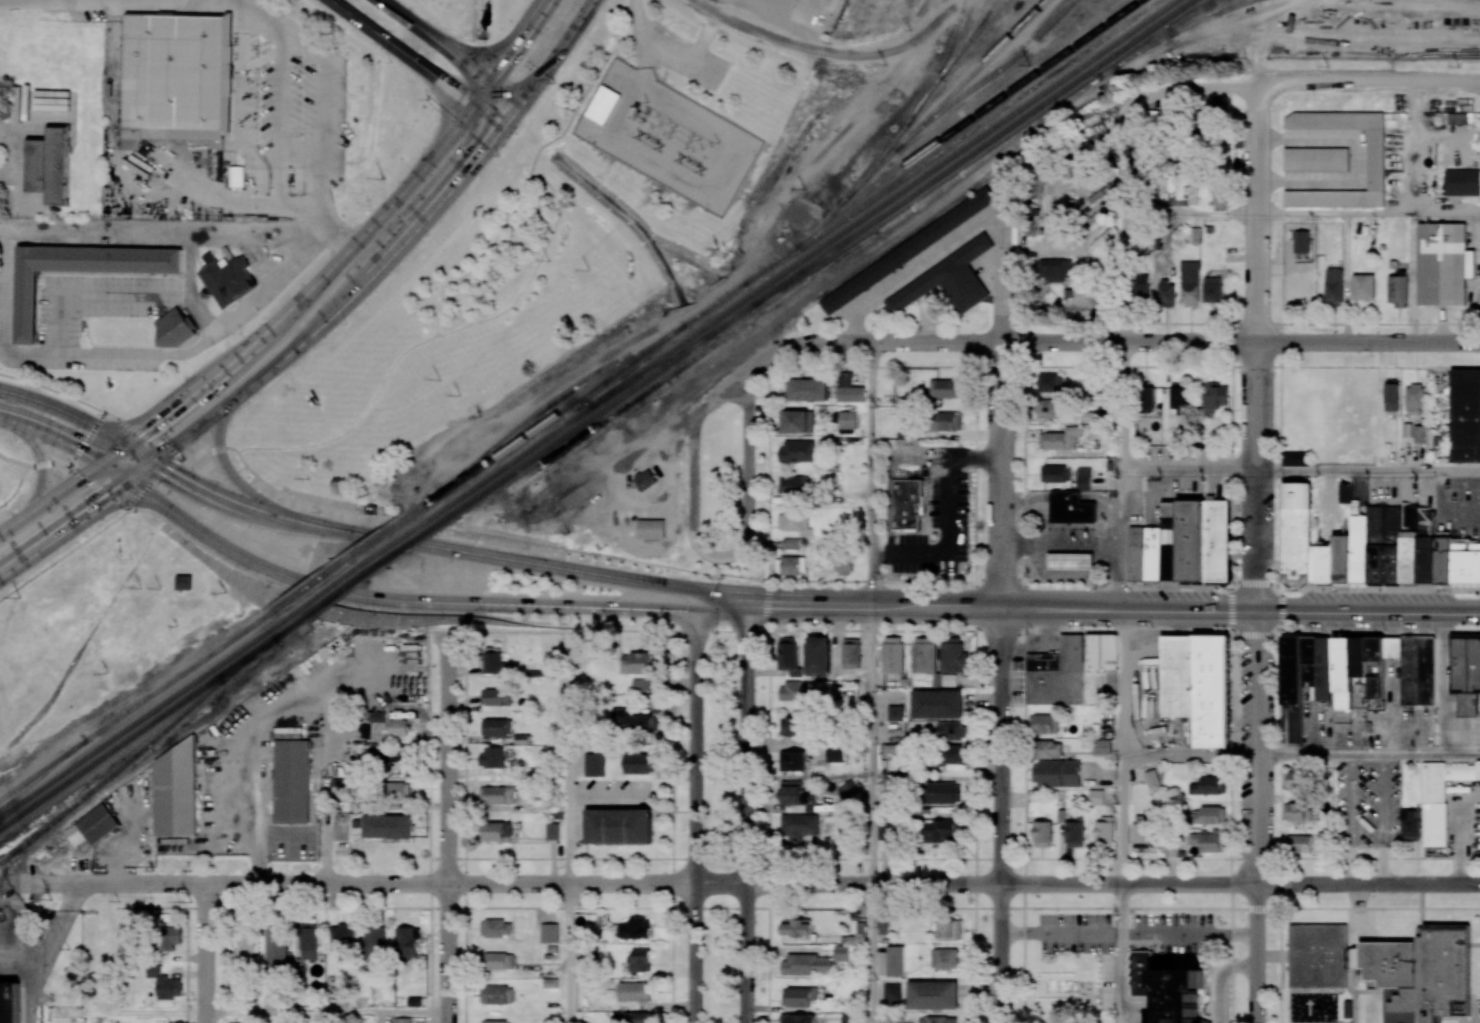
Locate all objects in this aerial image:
railway: (1194, 10)
railway: (1199, 10)
railway: (1217, 12)
railway: (1207, 13)
railway: (952, 35)
railway: (955, 35)
railway: (966, 37)
railway: (972, 37)
railway: (1151, 40)
railway: (1151, 43)
road: (810, 48)
road: (452, 49)
road: (665, 59)
road: (418, 62)
power tower: (887, 64)
railway: (1112, 68)
railway: (971, 74)
railway: (1065, 75)
building: (177, 77)
traffic signals: (492, 78)
road: (1306, 85)
road: (325, 93)
railway: (959, 96)
railway: (922, 97)
railway: (923, 99)
traffic signals: (522, 100)
traffic signals: (474, 103)
building: (604, 105)
traffic signals: (503, 124)
power substation: (668, 134)
railway: (941, 139)
power tower: (652, 142)
railway: (991, 154)
road: (1124, 156)
building: (1375, 159)
railway: (876, 160)
building: (1317, 160)
power tower: (693, 164)
building: (49, 165)
railway: (920, 165)
railway: (952, 165)
building: (235, 176)
building: (249, 183)
building: (1463, 183)
building: (1038, 185)
power tower: (806, 189)
building: (1191, 194)
building: (1219, 199)
road: (1191, 214)
road: (1369, 215)
building: (1033, 219)
railway: (821, 221)
road: (140, 235)
building: (1195, 235)
building: (1301, 242)
power tower: (719, 248)
building: (904, 250)
road: (480, 261)
building: (1444, 264)
railway: (816, 267)
road: (913, 267)
road: (1004, 270)
building: (81, 273)
building: (1057, 273)
building: (226, 278)
railway: (772, 278)
road: (1124, 278)
building: (945, 279)
building: (1190, 283)
building: (1334, 285)
building: (1364, 286)
building: (1141, 287)
building: (1212, 290)
building: (1397, 290)
road: (86, 294)
building: (1166, 294)
railway: (814, 296)
road: (302, 297)
road: (509, 307)
road: (326, 315)
road: (438, 319)
park: (447, 328)
building: (174, 330)
road: (1109, 342)
road: (1260, 348)
railway: (701, 352)
road: (169, 354)
road: (996, 367)
railway: (652, 370)
building: (1049, 383)
building: (806, 388)
building: (945, 388)
road: (53, 389)
building: (850, 392)
building: (1178, 396)
building: (1214, 397)
building: (1392, 397)
building: (1147, 399)
building: (1414, 399)
railway: (556, 401)
railway: (562, 409)
building: (1048, 409)
road: (1125, 409)
building: (1465, 415)
road: (114, 416)
road: (81, 419)
building: (847, 419)
building: (799, 421)
building: (948, 421)
railway: (581, 424)
building: (1408, 429)
building: (915, 433)
building: (907, 435)
building: (1060, 439)
road: (68, 442)
traffic signals: (129, 446)
building: (797, 451)
road: (975, 456)
building: (1295, 458)
road: (20, 461)
railway: (512, 462)
traffic signals: (156, 463)
traffic signals: (104, 464)
road: (42, 468)
road: (872, 473)
road: (1369, 473)
road: (1192, 474)
road: (1002, 475)
building: (643, 477)
road: (891, 477)
road: (233, 478)
power tower: (310, 478)
building: (1083, 479)
traffic signals: (130, 483)
building: (791, 485)
road: (16, 487)
building: (1345, 492)
building: (579, 493)
building: (907, 502)
road: (132, 505)
railway: (423, 506)
building: (1071, 508)
building: (795, 523)
building: (650, 528)
building: (1295, 532)
road: (1063, 540)
building: (1192, 540)
building: (1217, 540)
road: (420, 542)
road: (947, 542)
road: (1124, 542)
building: (791, 543)
building: (1384, 544)
building: (1409, 544)
building: (1426, 546)
building: (1171, 549)
building: (1359, 549)
road: (710, 552)
building: (1137, 553)
building: (1154, 553)
building: (1341, 559)
building: (1443, 560)
building: (1070, 561)
building: (1466, 563)
building: (1312, 564)
building: (1324, 564)
building: (793, 565)
railway: (361, 566)
railway: (336, 567)
railway: (376, 567)
road: (846, 580)
building: (184, 582)
power tower: (142, 588)
traffic signals: (695, 590)
road: (721, 595)
road: (423, 598)
traffic signals: (747, 601)
traffic signals: (695, 606)
road: (1231, 608)
road: (1113, 609)
road: (1281, 609)
road: (713, 630)
building: (851, 653)
building: (893, 654)
building: (924, 655)
building: (952, 655)
building: (579, 656)
building: (788, 656)
building: (818, 656)
building: (493, 660)
building: (638, 663)
building: (1342, 666)
building: (1068, 668)
building: (1291, 671)
building: (1427, 671)
building: (1466, 674)
railway: (178, 677)
road: (1123, 683)
building: (645, 684)
building: (795, 691)
building: (1214, 691)
building: (495, 696)
park: (721, 704)
building: (937, 704)
building: (895, 712)
railway: (143, 717)
building: (635, 720)
railway: (151, 723)
building: (1045, 724)
building: (790, 725)
building: (399, 727)
building: (497, 727)
building: (949, 730)
road: (872, 744)
building: (1102, 747)
building: (1048, 750)
railway: (139, 752)
building: (835, 754)
road: (1190, 756)
road: (1369, 756)
building: (492, 757)
building: (949, 757)
building: (792, 760)
building: (640, 763)
building: (594, 765)
railway: (44, 769)
railway: (43, 773)
building: (1057, 773)
building: (1295, 777)
building: (1151, 778)
building: (292, 781)
building: (340, 786)
building: (1212, 786)
building: (847, 790)
building: (396, 791)
building: (176, 792)
building: (795, 793)
building: (943, 793)
road: (569, 794)
building: (497, 795)
building: (1441, 796)
building: (1096, 797)
road: (695, 806)
road: (746, 811)
building: (1299, 812)
road: (1002, 816)
building: (1061, 816)
building: (1209, 816)
road: (1258, 816)
road: (1123, 820)
road: (1352, 820)
road: (1385, 820)
road: (328, 823)
building: (98, 824)
building: (1410, 824)
building: (798, 825)
building: (386, 826)
road: (672, 826)
road: (768, 826)
building: (618, 828)
building: (938, 830)
building: (497, 831)
building: (552, 831)
building: (1074, 831)
road: (446, 832)
building: (1103, 832)
building: (1042, 833)
building: (1141, 835)
road: (1464, 836)
building: (1209, 841)
building: (1299, 843)
road: (356, 884)
road: (1087, 885)
power tower: (51, 899)
power tower: (191, 901)
building: (884, 922)
building: (496, 928)
building: (796, 928)
building: (634, 929)
building: (950, 930)
building: (551, 931)
road: (1129, 932)
building: (128, 936)
building: (171, 937)
building: (342, 938)
building: (309, 941)
building: (375, 942)
building: (407, 942)
building: (244, 945)
building: (275, 946)
road: (1122, 948)
building: (592, 950)
road: (204, 953)
building: (841, 953)
road: (871, 953)
road: (569, 954)
building: (1319, 955)
building: (945, 958)
building: (896, 959)
building: (499, 961)
building: (640, 961)
building: (807, 964)
building: (1421, 974)
road: (1220, 978)
building: (551, 982)
building: (164, 983)
building: (1166, 987)
building: (635, 991)
building: (892, 991)
building: (935, 993)
building: (497, 995)
building: (801, 997)
road: (128, 1012)
road: (325, 1012)
building: (631, 1017)
building: (797, 1018)
building: (851, 1018)
building: (938, 1019)
building: (402, 1020)
building: (496, 1021)
building: (241, 1022)

